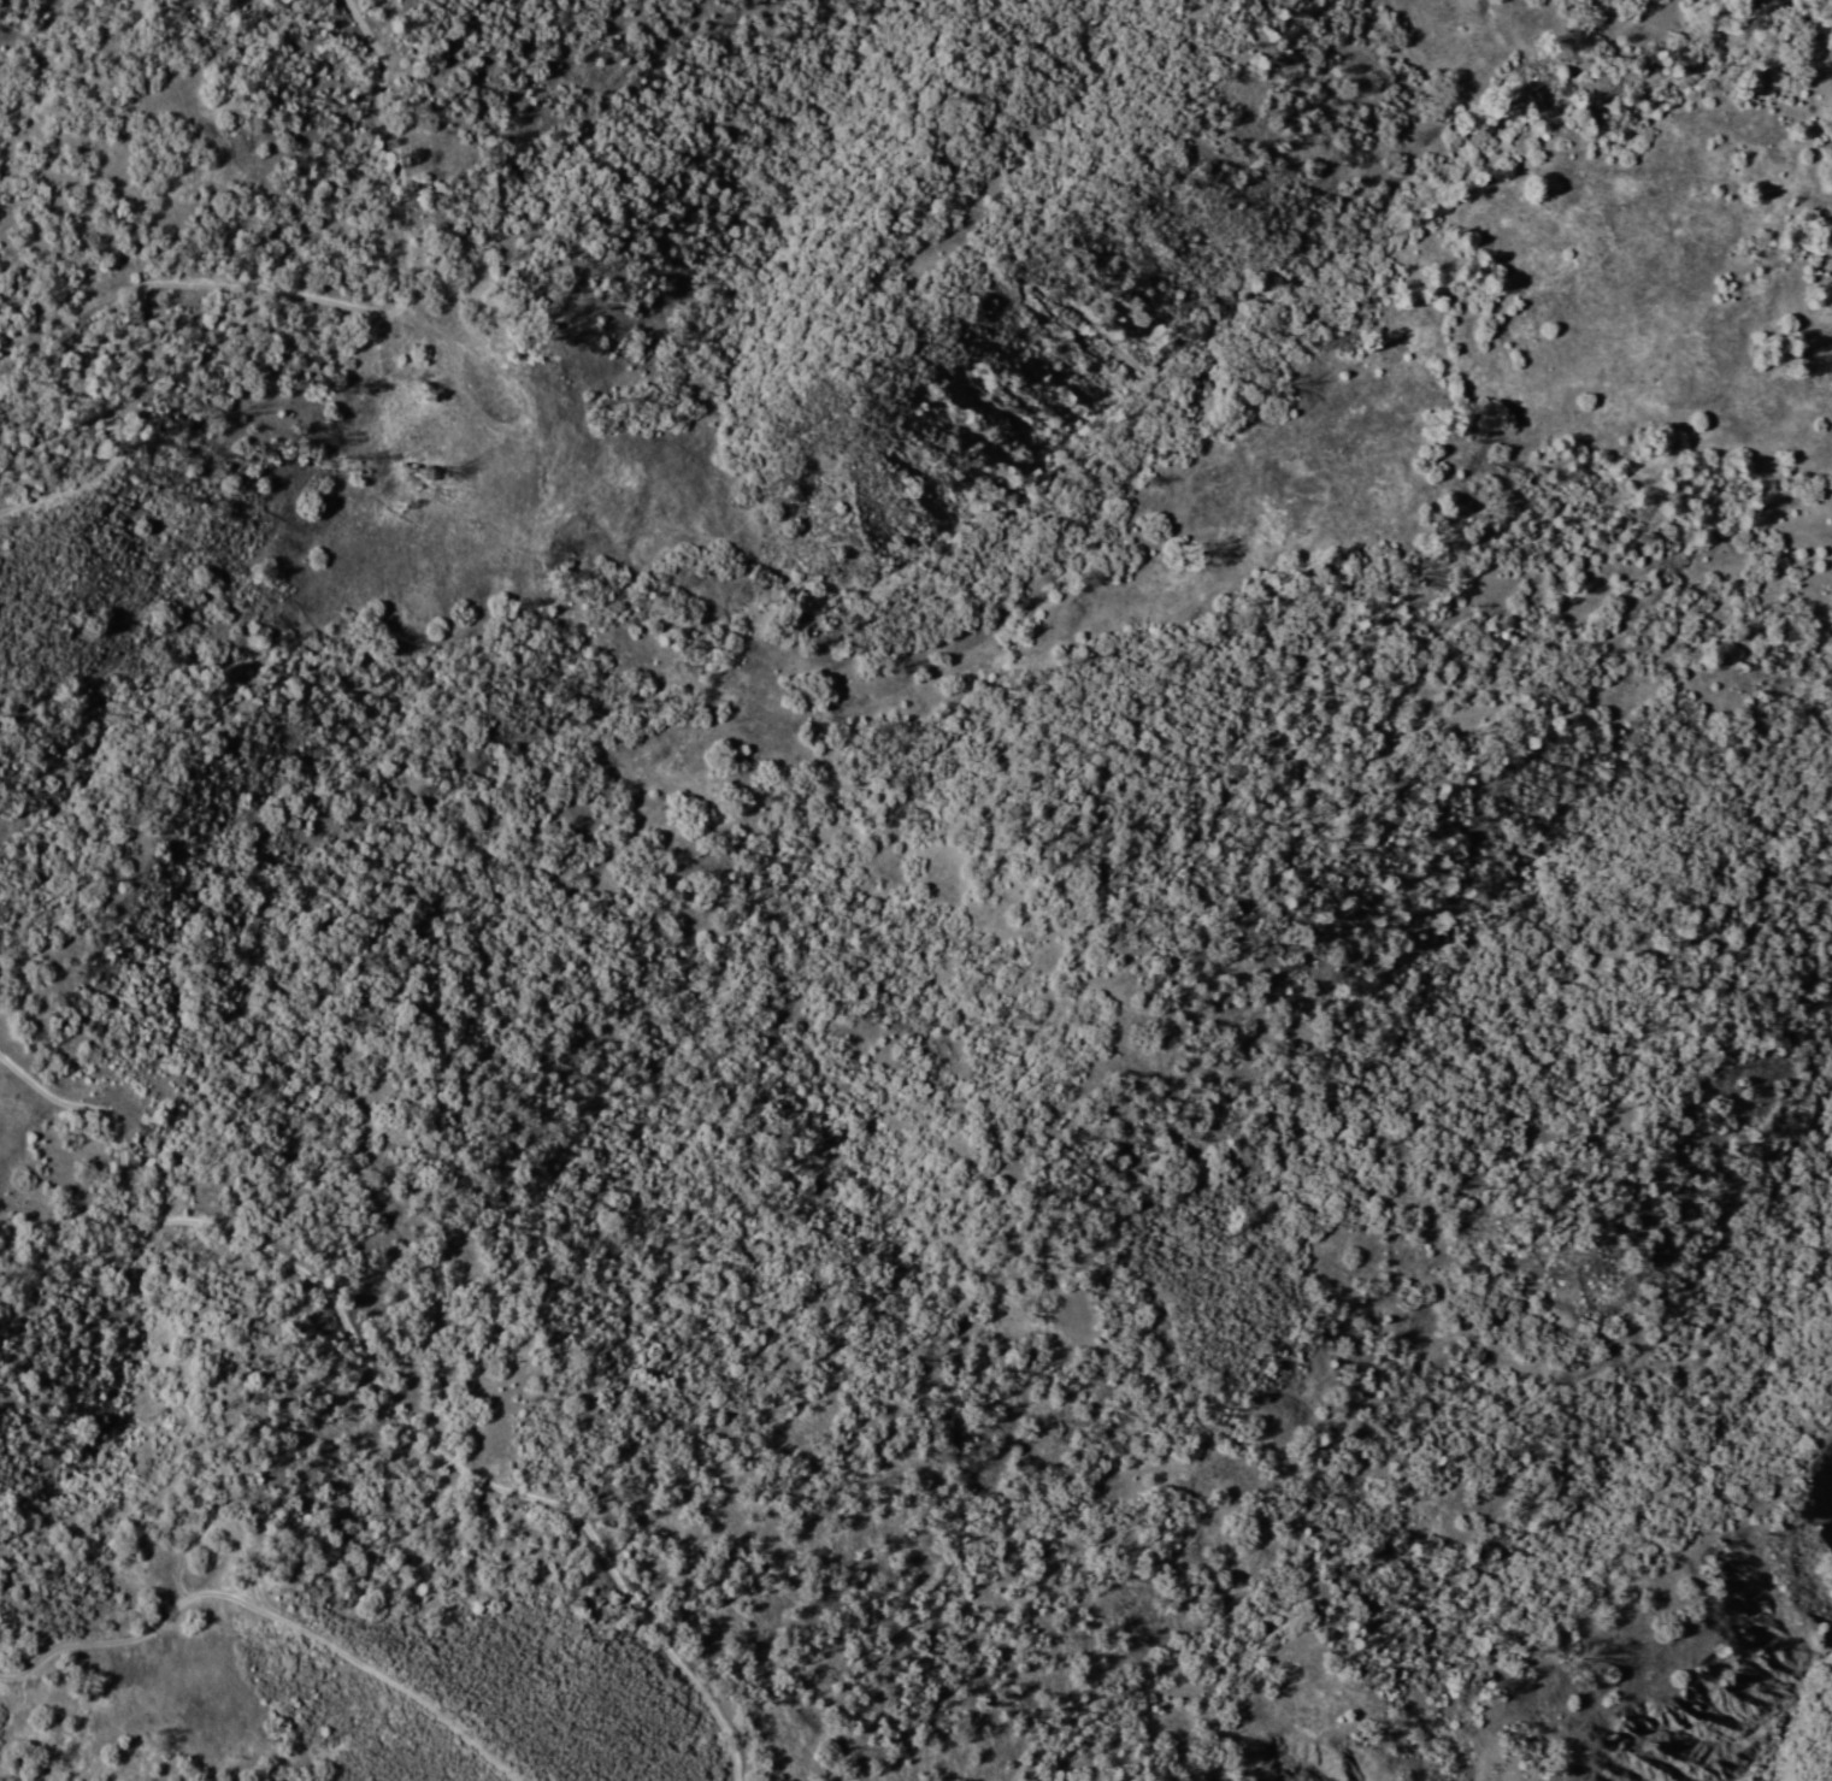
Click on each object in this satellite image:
road: (1814, 26)

